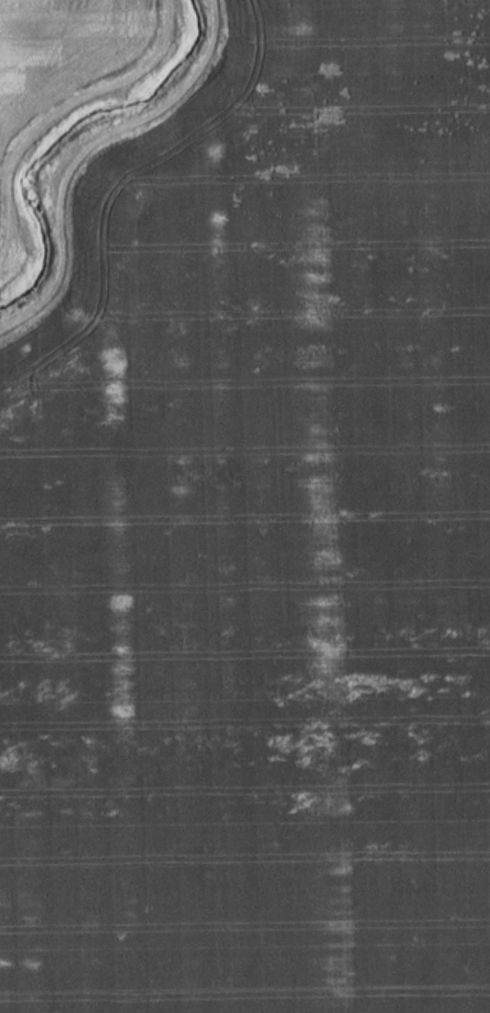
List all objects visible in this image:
crop: (55, 45)
crop: (259, 541)

